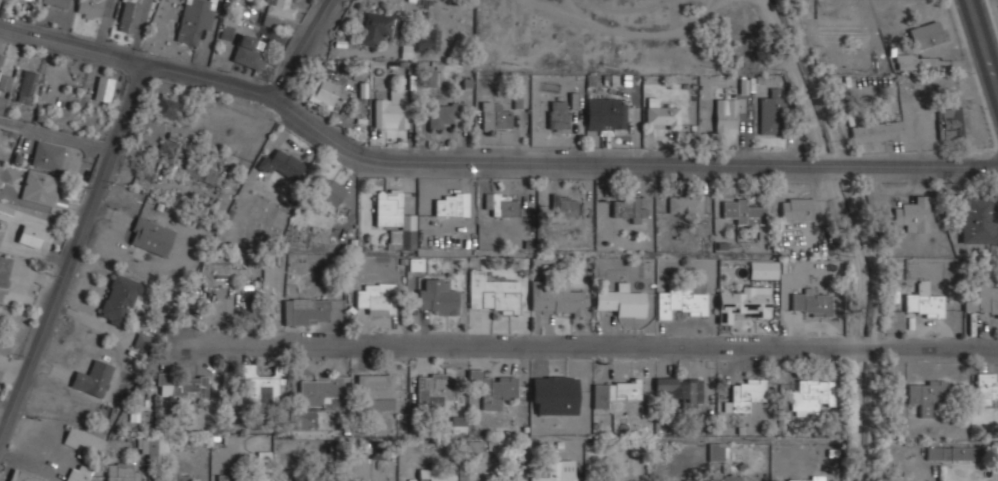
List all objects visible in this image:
building: (411, 0)
building: (27, 1)
building: (56, 2)
building: (94, 8)
building: (279, 8)
building: (128, 15)
building: (194, 19)
building: (227, 25)
building: (378, 27)
building: (928, 33)
building: (427, 38)
road: (982, 46)
road: (294, 48)
building: (248, 51)
building: (1, 61)
building: (906, 61)
building: (427, 78)
building: (3, 80)
building: (26, 85)
building: (103, 88)
building: (328, 91)
building: (517, 99)
building: (1, 104)
building: (166, 106)
building: (604, 109)
building: (771, 112)
building: (390, 113)
building: (442, 113)
building: (559, 113)
building: (662, 113)
building: (495, 115)
building: (725, 115)
building: (952, 122)
building: (877, 131)
building: (168, 143)
building: (47, 154)
road: (486, 159)
building: (282, 163)
building: (209, 174)
building: (40, 186)
building: (326, 188)
building: (501, 202)
building: (687, 202)
building: (447, 203)
building: (565, 204)
building: (627, 207)
building: (797, 208)
building: (743, 211)
building: (912, 213)
building: (396, 216)
building: (979, 219)
building: (30, 235)
building: (150, 235)
road: (77, 254)
building: (416, 264)
building: (220, 266)
building: (4, 268)
building: (763, 269)
building: (491, 292)
building: (377, 296)
building: (555, 296)
building: (120, 297)
building: (437, 297)
building: (982, 298)
building: (682, 299)
building: (621, 300)
building: (923, 300)
building: (741, 301)
building: (810, 302)
building: (306, 310)
building: (142, 342)
road: (587, 345)
building: (92, 377)
building: (185, 384)
building: (258, 385)
building: (986, 386)
building: (492, 387)
building: (321, 388)
building: (433, 388)
building: (376, 389)
building: (681, 389)
building: (746, 393)
building: (811, 393)
building: (925, 393)
building: (554, 394)
building: (611, 402)
building: (458, 424)
building: (84, 440)
building: (154, 446)
building: (716, 450)
building: (949, 452)
building: (556, 471)
building: (121, 472)
building: (78, 473)
building: (433, 474)
building: (22, 476)
building: (896, 476)
building: (225, 477)
building: (733, 477)
building: (172, 478)
building: (310, 480)
building: (357, 480)
building: (661, 480)
building: (677, 480)
building: (800, 480)

